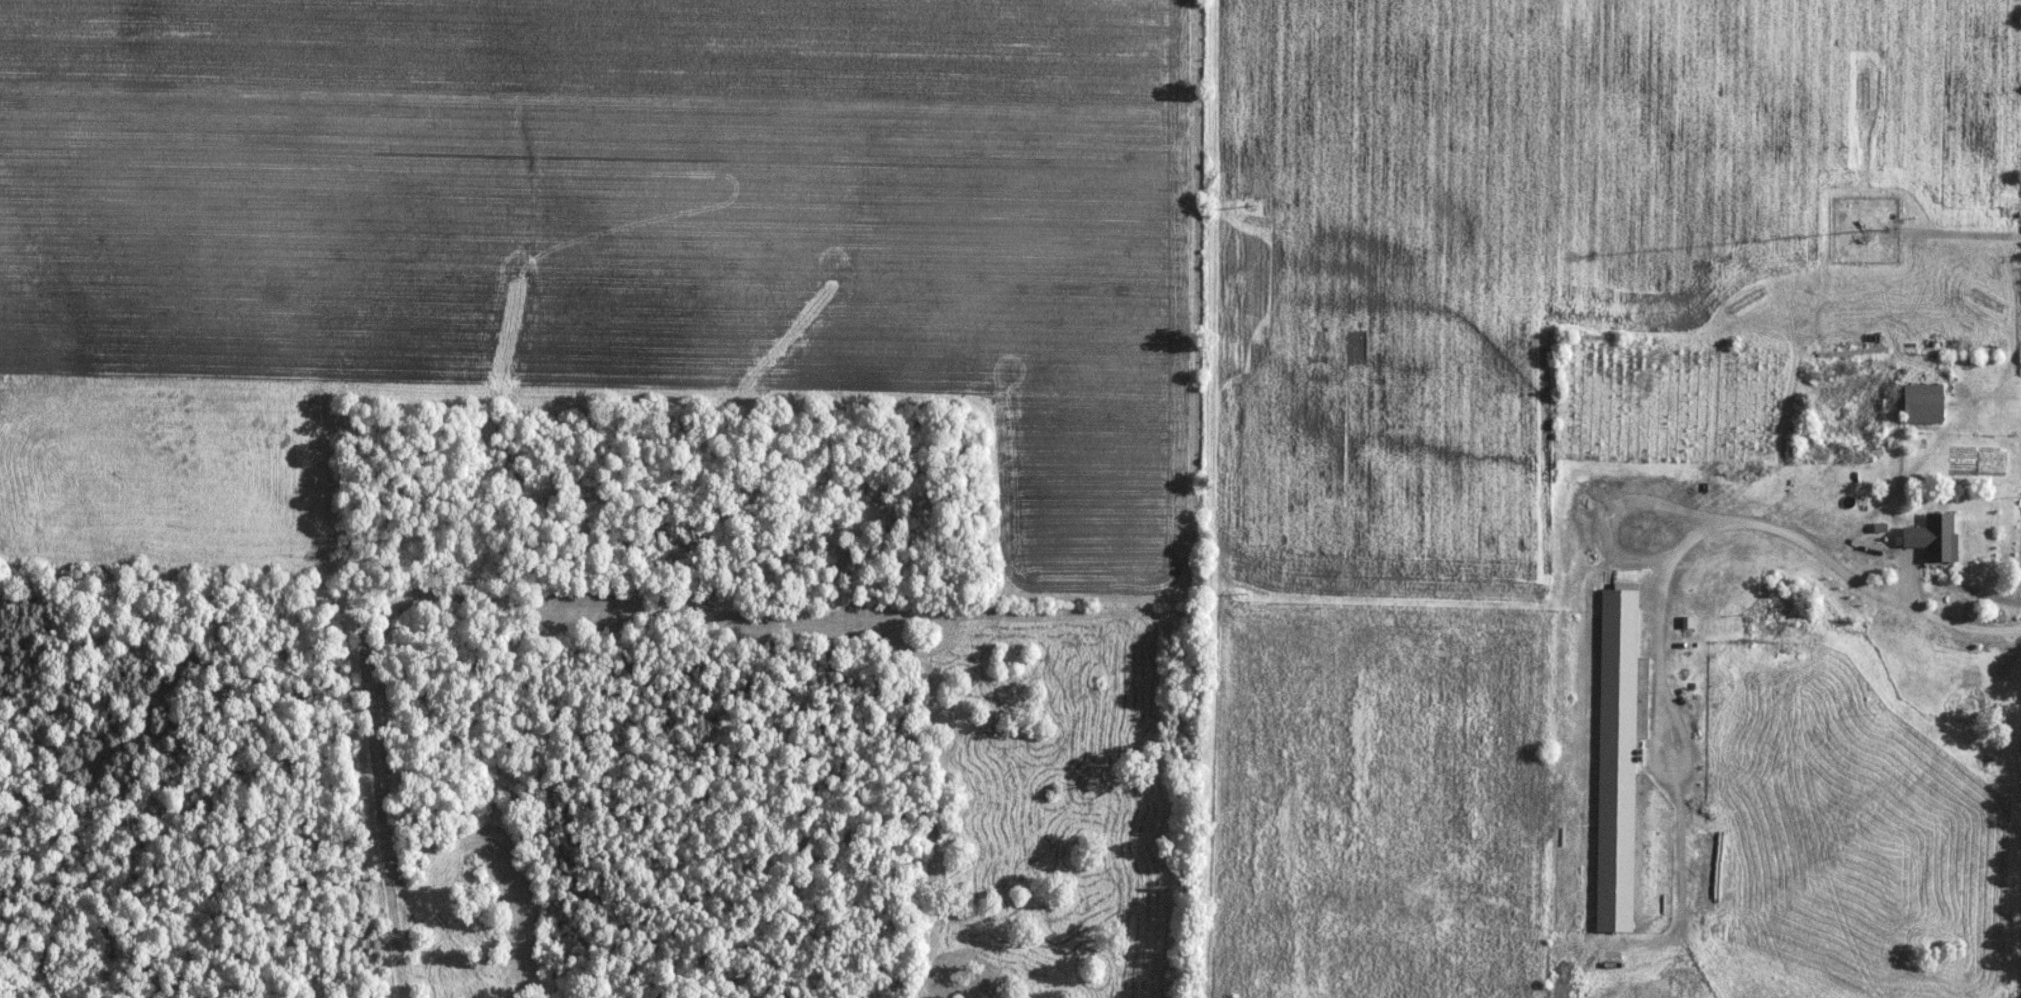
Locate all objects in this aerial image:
road: (1951, 241)
building: (1925, 403)
building: (1936, 536)
road: (1951, 587)

